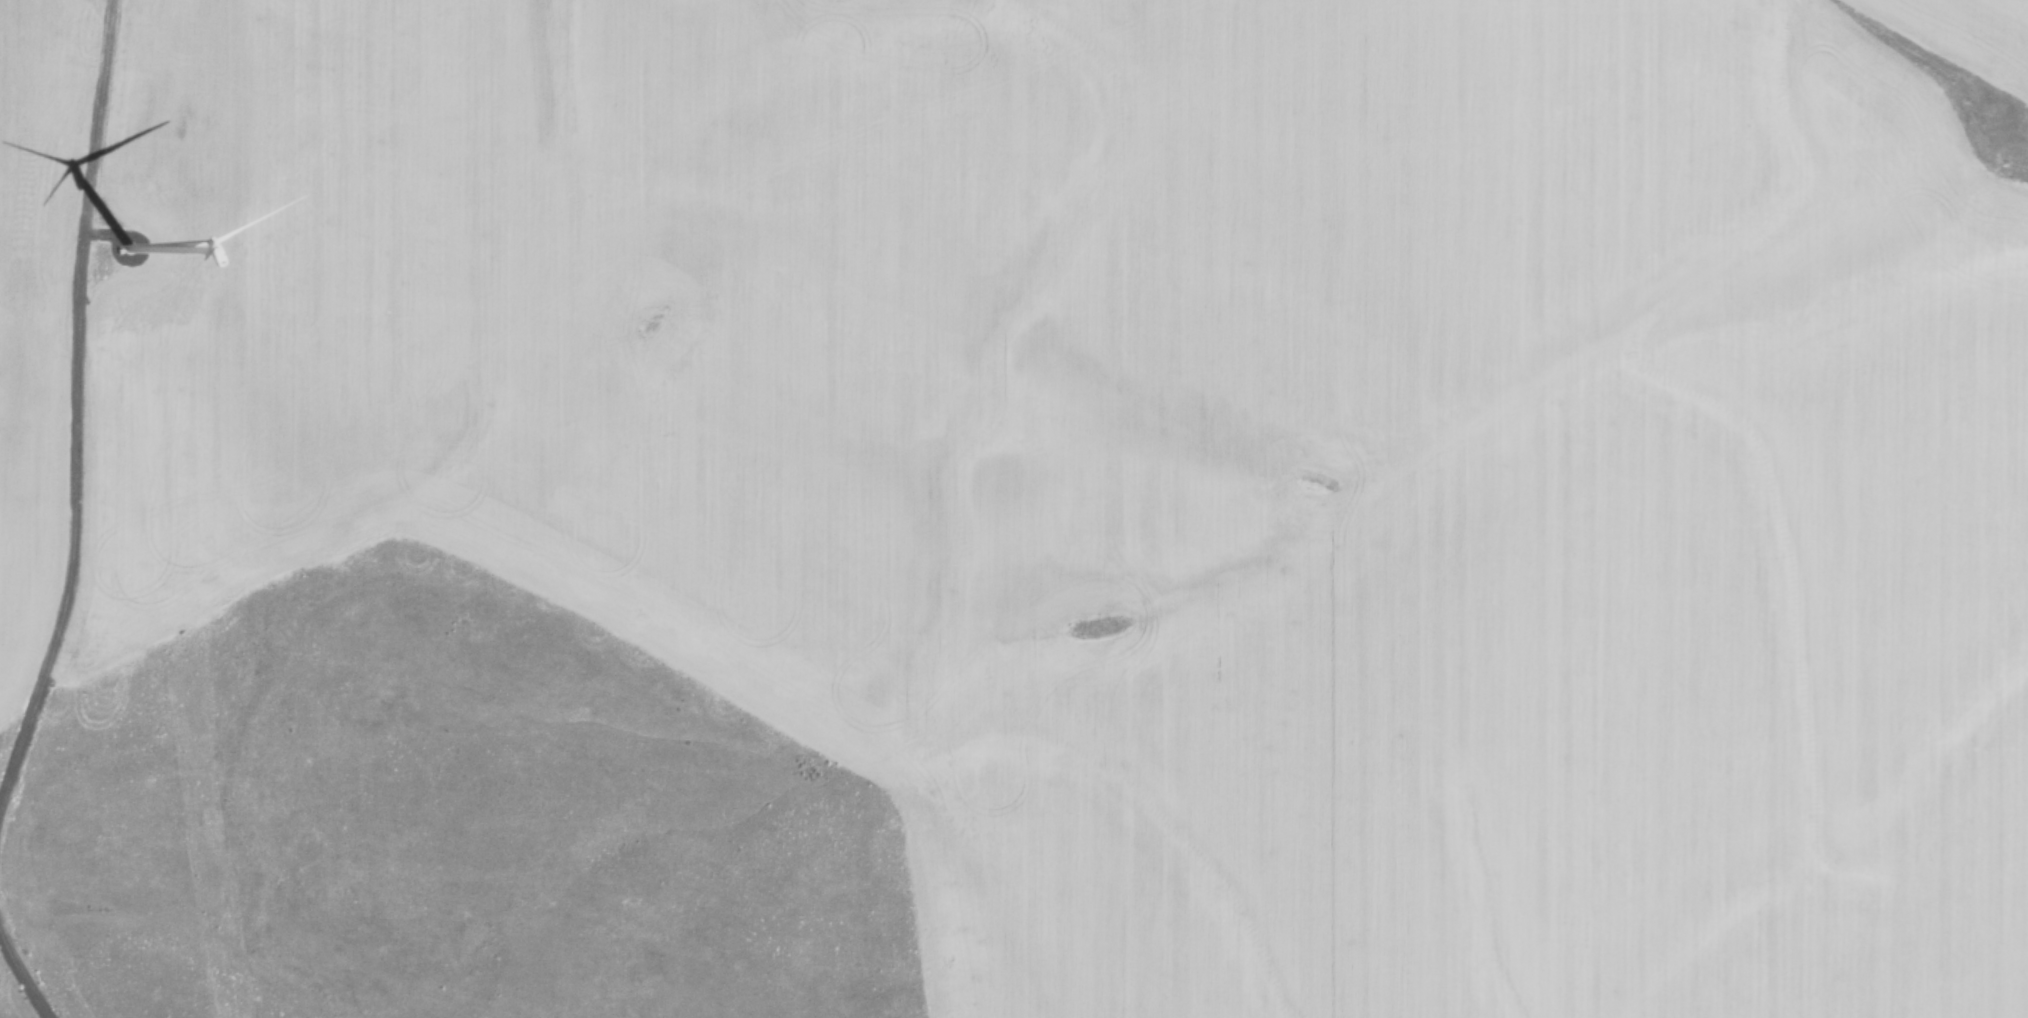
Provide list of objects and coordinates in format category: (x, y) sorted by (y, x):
wind turbine: (131, 250)
road: (74, 404)
road: (22, 972)

